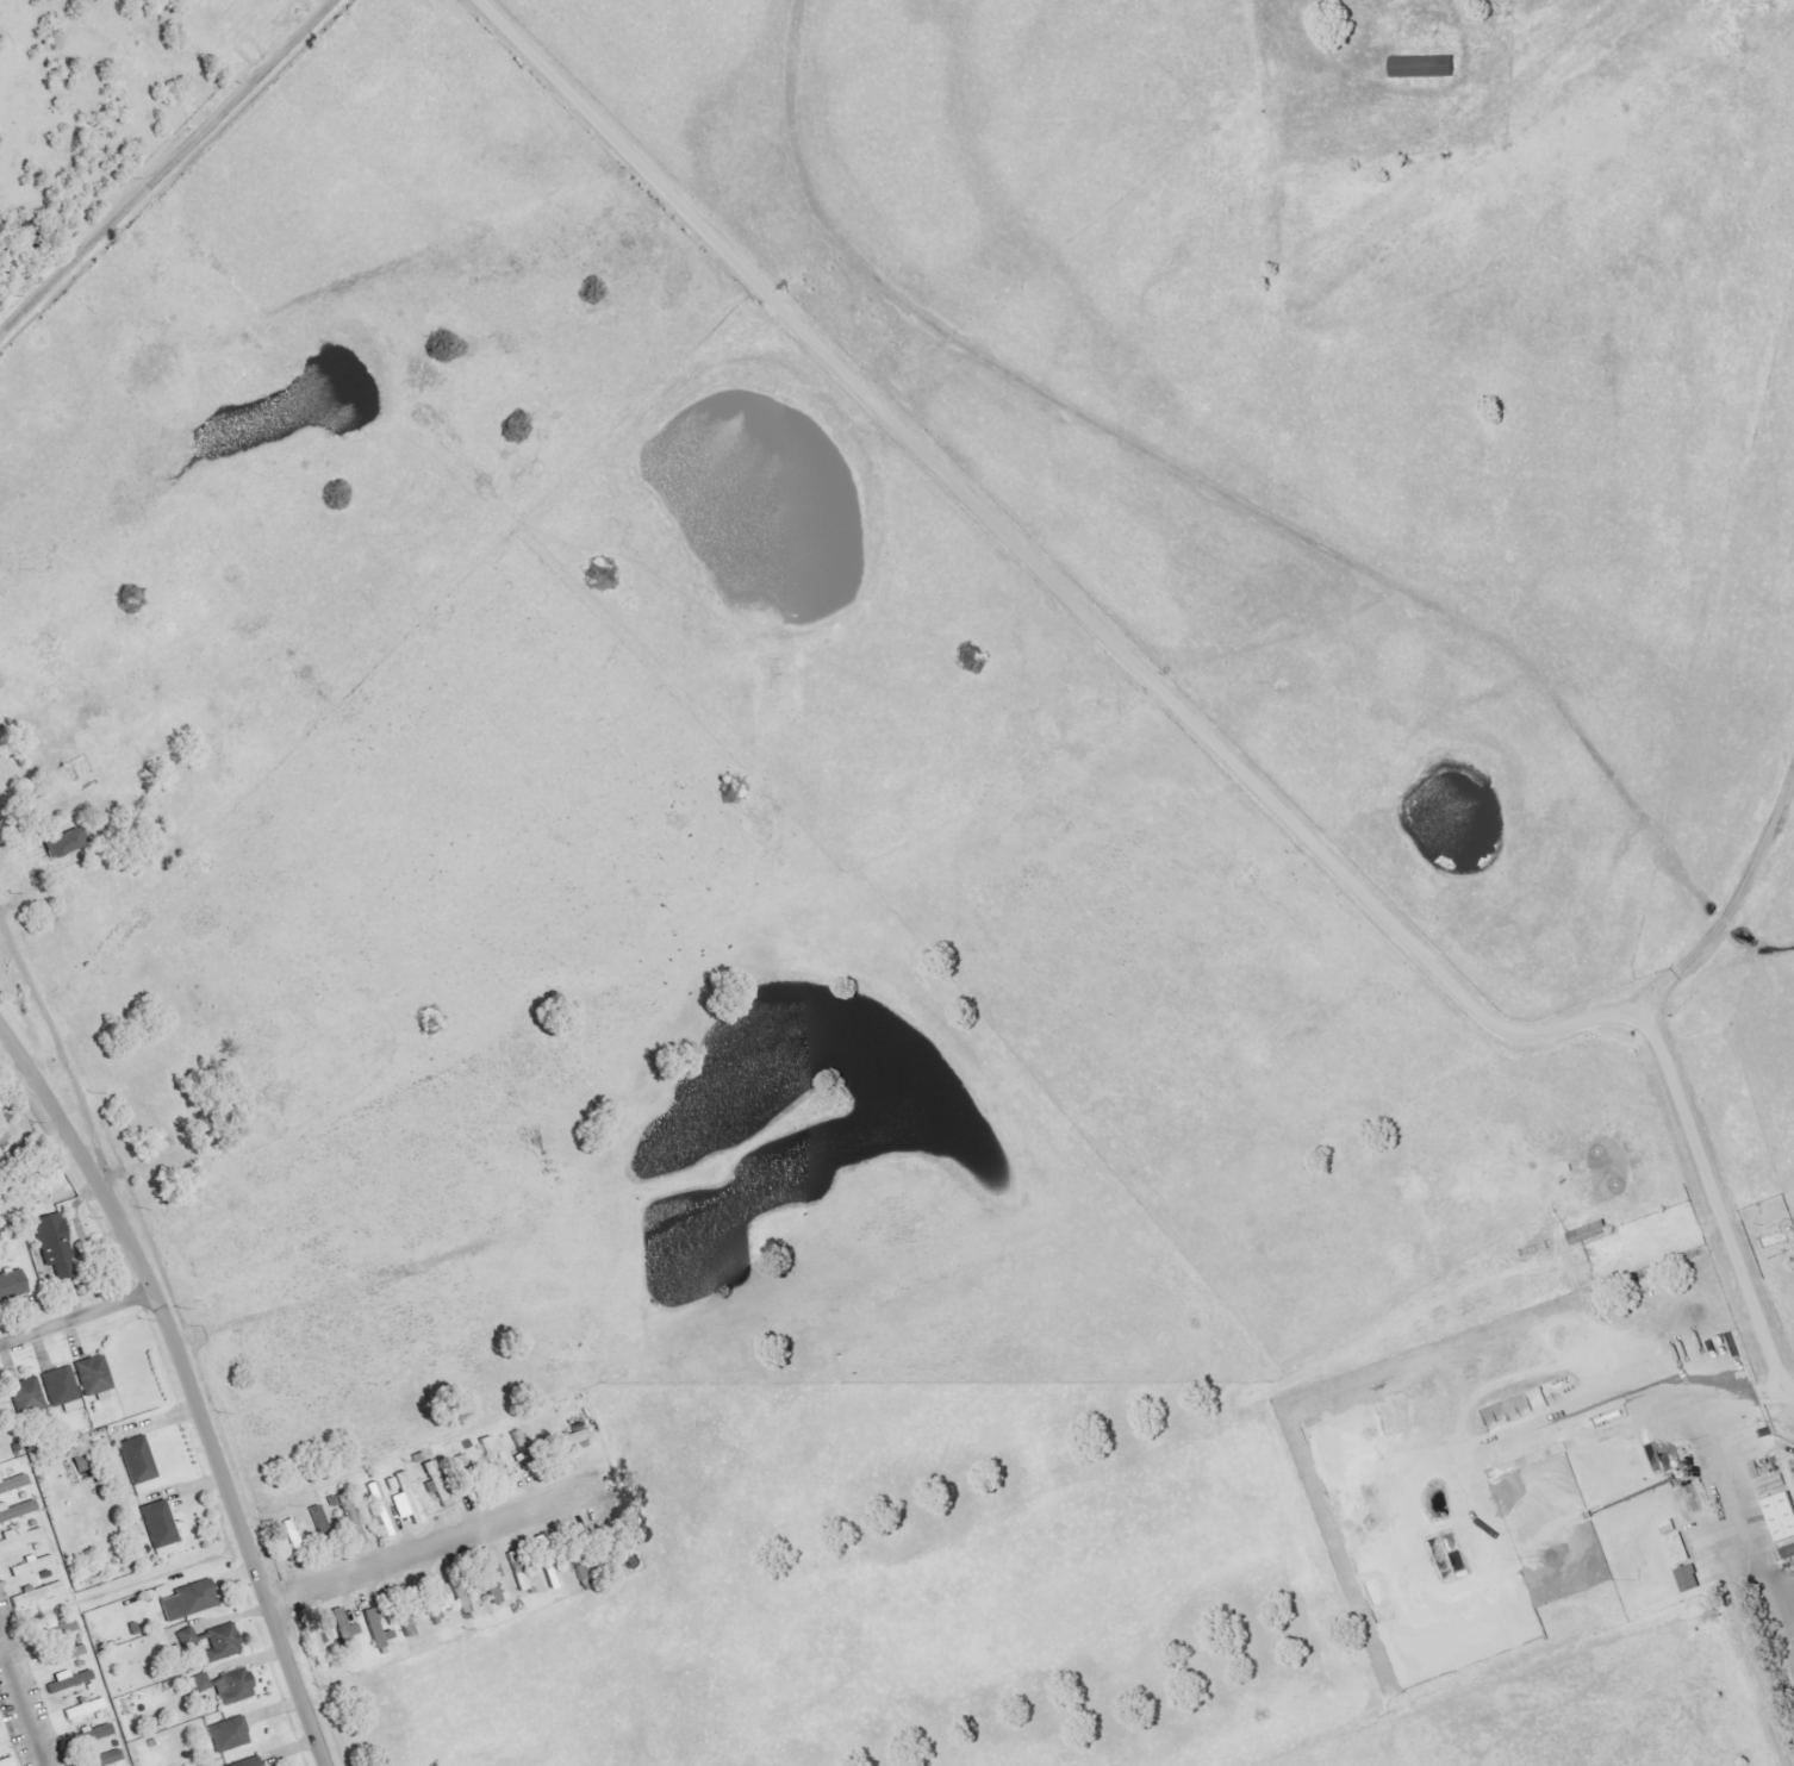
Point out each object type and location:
road: (1308, 36)
building: (1422, 67)
road: (163, 166)
road: (1040, 566)
building: (64, 843)
road: (2, 856)
road: (1736, 899)
road: (4, 1029)
road: (58, 1052)
road: (45, 1057)
building: (4, 1136)
road: (1715, 1197)
building: (55, 1244)
building: (12, 1285)
road: (77, 1321)
building: (94, 1375)
road: (187, 1377)
building: (62, 1389)
building: (27, 1396)
building: (571, 1441)
building: (131, 1458)
building: (460, 1461)
building: (494, 1462)
building: (431, 1481)
building: (391, 1483)
building: (13, 1484)
building: (409, 1497)
building: (379, 1509)
building: (17, 1510)
building: (1781, 1516)
building: (318, 1517)
building: (152, 1522)
building: (291, 1533)
building: (20, 1539)
road: (415, 1542)
building: (1678, 1549)
building: (1788, 1553)
building: (35, 1565)
building: (517, 1573)
building: (550, 1574)
building: (484, 1577)
building: (1688, 1579)
building: (493, 1584)
building: (37, 1595)
building: (462, 1602)
building: (185, 1605)
building: (434, 1614)
building: (405, 1623)
building: (62, 1629)
building: (375, 1629)
building: (43, 1630)
building: (344, 1631)
road: (1746, 1636)
building: (213, 1641)
building: (314, 1646)
building: (66, 1654)
building: (68, 1680)
building: (200, 1683)
building: (232, 1686)
building: (85, 1709)
road: (17, 1712)
building: (222, 1731)
building: (96, 1733)
building: (91, 1758)
building: (237, 1761)
building: (7, 1762)

